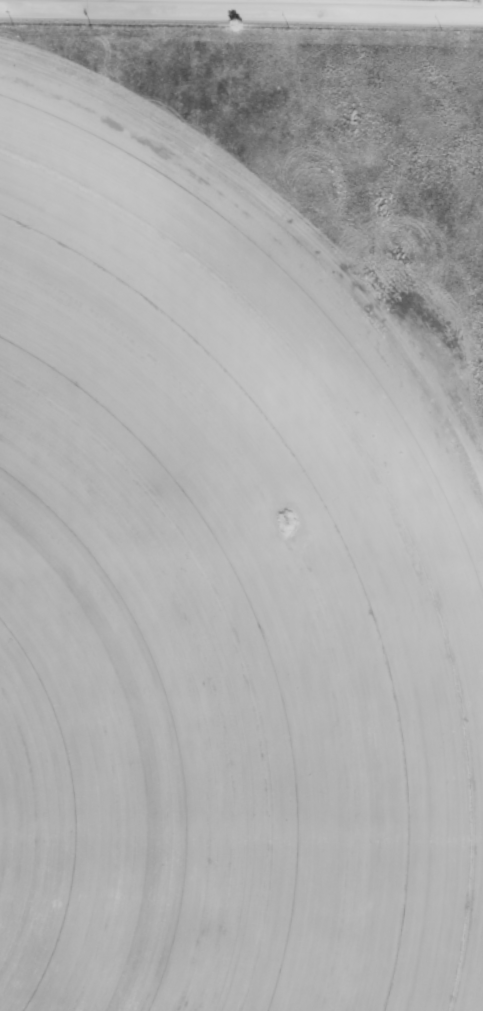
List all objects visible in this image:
road: (241, 3)

